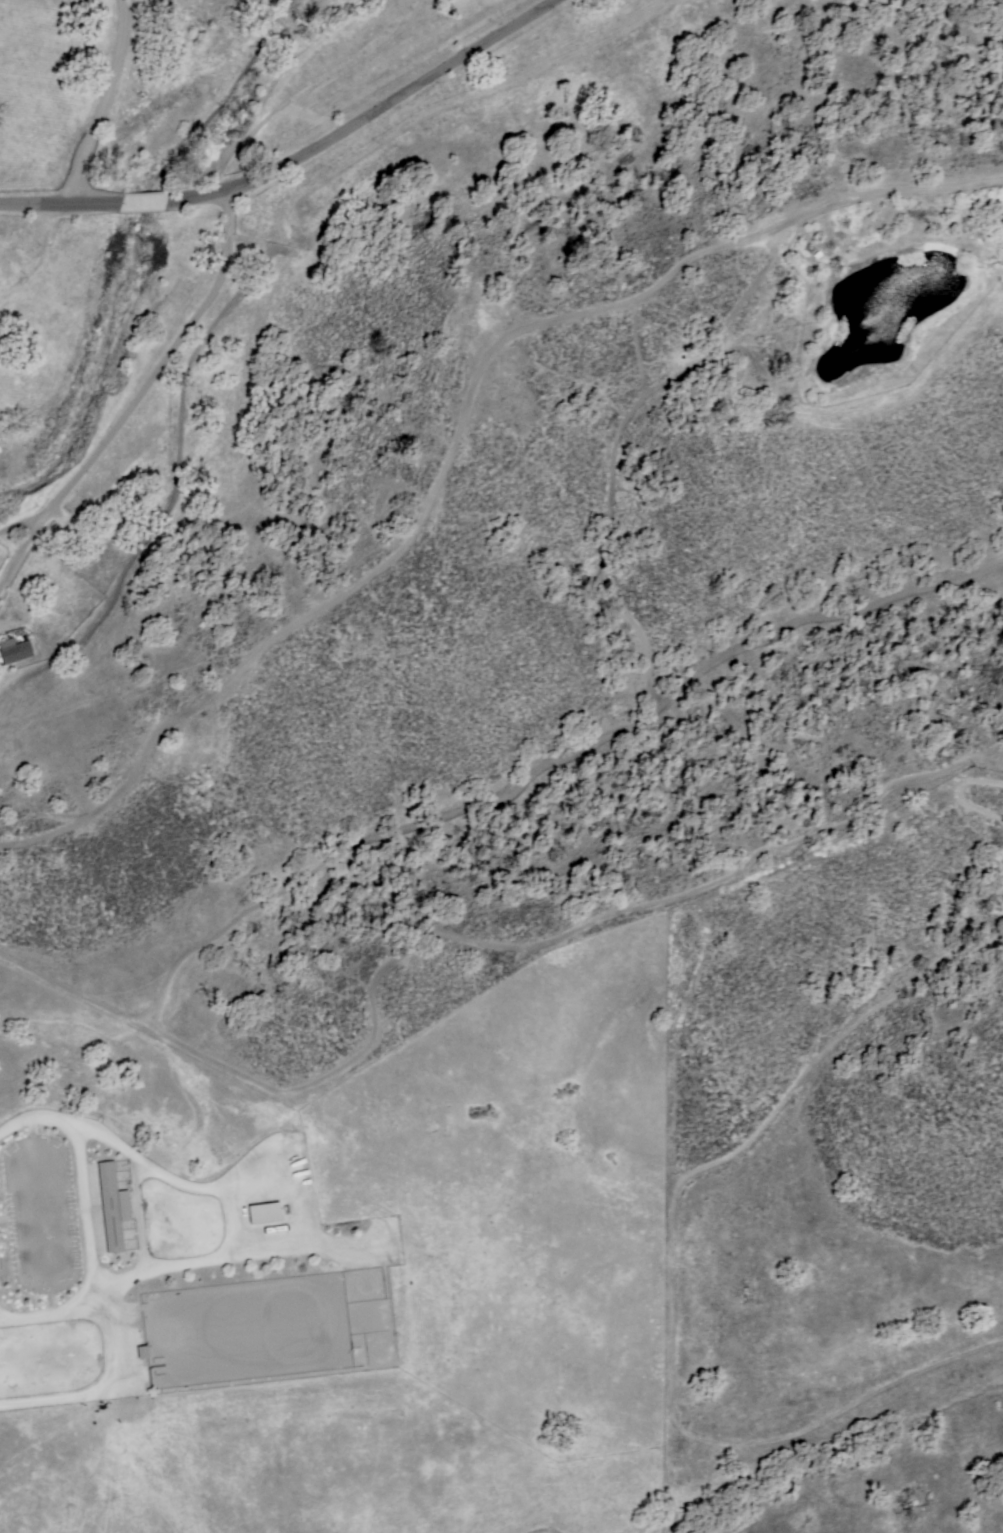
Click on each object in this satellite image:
road: (96, 106)
road: (298, 161)
building: (14, 649)
building: (111, 1205)
building: (263, 1212)

